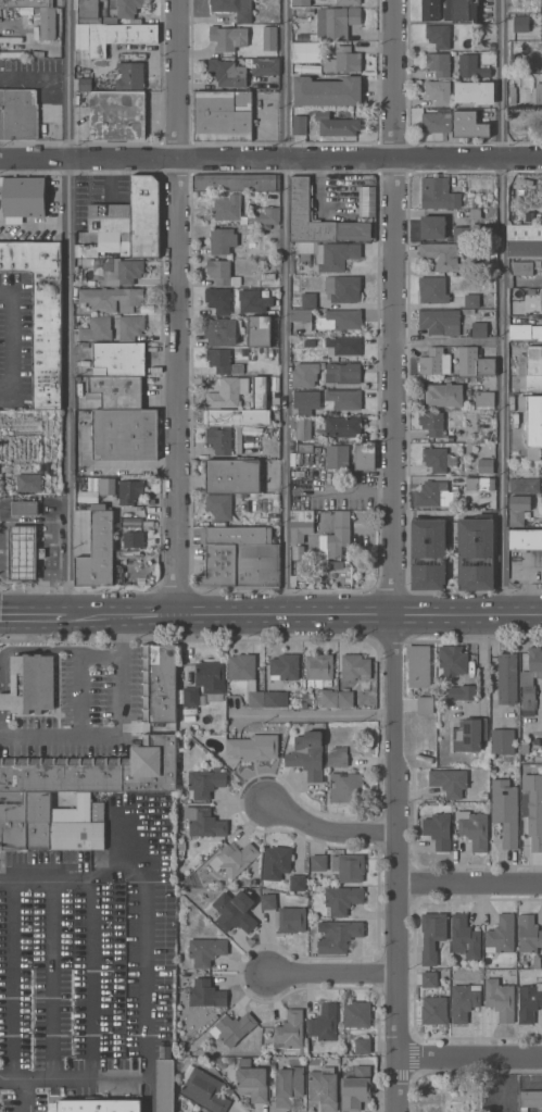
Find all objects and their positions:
building: (104, 0)
building: (301, 2)
building: (349, 2)
building: (26, 3)
building: (234, 8)
building: (128, 9)
building: (430, 10)
building: (461, 11)
building: (90, 12)
building: (47, 22)
building: (336, 22)
building: (524, 25)
building: (111, 36)
building: (439, 36)
building: (222, 37)
building: (269, 38)
building: (306, 51)
building: (343, 60)
building: (439, 63)
building: (265, 66)
building: (470, 66)
building: (227, 73)
building: (130, 75)
road: (395, 79)
road: (177, 80)
building: (85, 85)
building: (327, 91)
building: (475, 91)
building: (438, 92)
building: (524, 95)
building: (17, 114)
building: (116, 115)
building: (223, 115)
building: (436, 122)
building: (299, 125)
building: (336, 125)
building: (468, 125)
road: (270, 161)
building: (237, 183)
building: (439, 193)
building: (23, 196)
building: (367, 200)
building: (227, 208)
building: (306, 214)
building: (264, 216)
building: (133, 217)
building: (433, 227)
building: (469, 228)
building: (353, 229)
building: (222, 240)
building: (524, 241)
building: (331, 254)
building: (441, 255)
building: (522, 267)
building: (121, 272)
building: (222, 273)
building: (269, 276)
building: (343, 288)
building: (432, 290)
building: (113, 298)
building: (218, 299)
building: (308, 300)
building: (471, 300)
building: (253, 301)
building: (541, 301)
road: (71, 307)
road: (287, 307)
road: (502, 307)
building: (41, 313)
building: (301, 314)
building: (341, 320)
building: (439, 321)
building: (130, 327)
building: (97, 328)
building: (479, 329)
building: (220, 330)
building: (259, 332)
building: (525, 332)
road: (10, 339)
road: (449, 341)
building: (344, 345)
building: (118, 359)
building: (436, 360)
building: (223, 361)
building: (530, 361)
building: (475, 362)
building: (343, 373)
building: (304, 374)
building: (533, 382)
road: (179, 387)
building: (116, 391)
building: (227, 392)
building: (260, 392)
building: (443, 395)
building: (484, 398)
building: (345, 399)
building: (306, 402)
building: (237, 417)
building: (432, 423)
building: (531, 423)
building: (301, 426)
building: (342, 426)
building: (124, 434)
building: (219, 439)
building: (239, 440)
building: (365, 455)
building: (337, 457)
building: (245, 458)
building: (436, 459)
building: (486, 465)
building: (232, 476)
building: (29, 483)
building: (478, 484)
building: (112, 485)
building: (525, 485)
building: (130, 491)
building: (433, 493)
building: (92, 495)
building: (219, 505)
building: (540, 505)
building: (100, 507)
building: (25, 508)
building: (518, 509)
building: (131, 522)
building: (301, 525)
building: (339, 534)
building: (133, 539)
building: (525, 539)
building: (23, 552)
building: (98, 552)
building: (476, 552)
building: (428, 553)
building: (249, 554)
building: (219, 565)
building: (337, 565)
road: (526, 586)
road: (270, 613)
road: (396, 636)
building: (453, 660)
building: (418, 665)
building: (285, 667)
building: (355, 667)
building: (319, 670)
building: (245, 675)
building: (531, 677)
building: (507, 678)
building: (211, 680)
building: (30, 685)
building: (159, 685)
building: (462, 692)
building: (304, 696)
building: (190, 697)
building: (327, 698)
building: (365, 698)
building: (277, 699)
building: (345, 699)
building: (202, 701)
building: (304, 704)
building: (424, 704)
road: (317, 715)
road: (116, 732)
building: (470, 735)
building: (502, 741)
building: (253, 747)
building: (307, 753)
building: (337, 755)
building: (96, 771)
building: (450, 782)
building: (204, 784)
building: (345, 787)
building: (483, 796)
building: (532, 809)
building: (505, 811)
building: (204, 822)
building: (52, 824)
building: (474, 828)
road: (329, 830)
building: (438, 830)
building: (180, 847)
building: (234, 859)
building: (276, 862)
building: (318, 862)
building: (255, 865)
building: (349, 866)
road: (144, 869)
building: (255, 873)
road: (51, 875)
road: (8, 876)
building: (254, 882)
building: (298, 883)
road: (470, 884)
building: (342, 899)
building: (268, 900)
building: (235, 911)
building: (292, 920)
building: (528, 934)
building: (501, 935)
building: (339, 936)
building: (432, 936)
building: (465, 936)
building: (206, 950)
building: (537, 962)
road: (335, 974)
road: (14, 979)
road: (50, 979)
road: (90, 979)
road: (148, 979)
building: (430, 982)
building: (419, 991)
building: (206, 994)
building: (500, 999)
building: (464, 1001)
building: (529, 1002)
building: (434, 1010)
building: (357, 1014)
building: (215, 1017)
building: (324, 1022)
building: (234, 1028)
building: (289, 1030)
building: (363, 1046)
road: (470, 1059)
building: (220, 1063)
building: (273, 1066)
building: (252, 1080)
road: (1, 1082)
road: (13, 1083)
road: (101, 1084)
building: (289, 1085)
building: (165, 1086)
building: (204, 1089)
building: (356, 1089)
building: (324, 1090)
road: (2, 1097)
road: (25, 1097)
building: (530, 1099)
building: (94, 1105)

